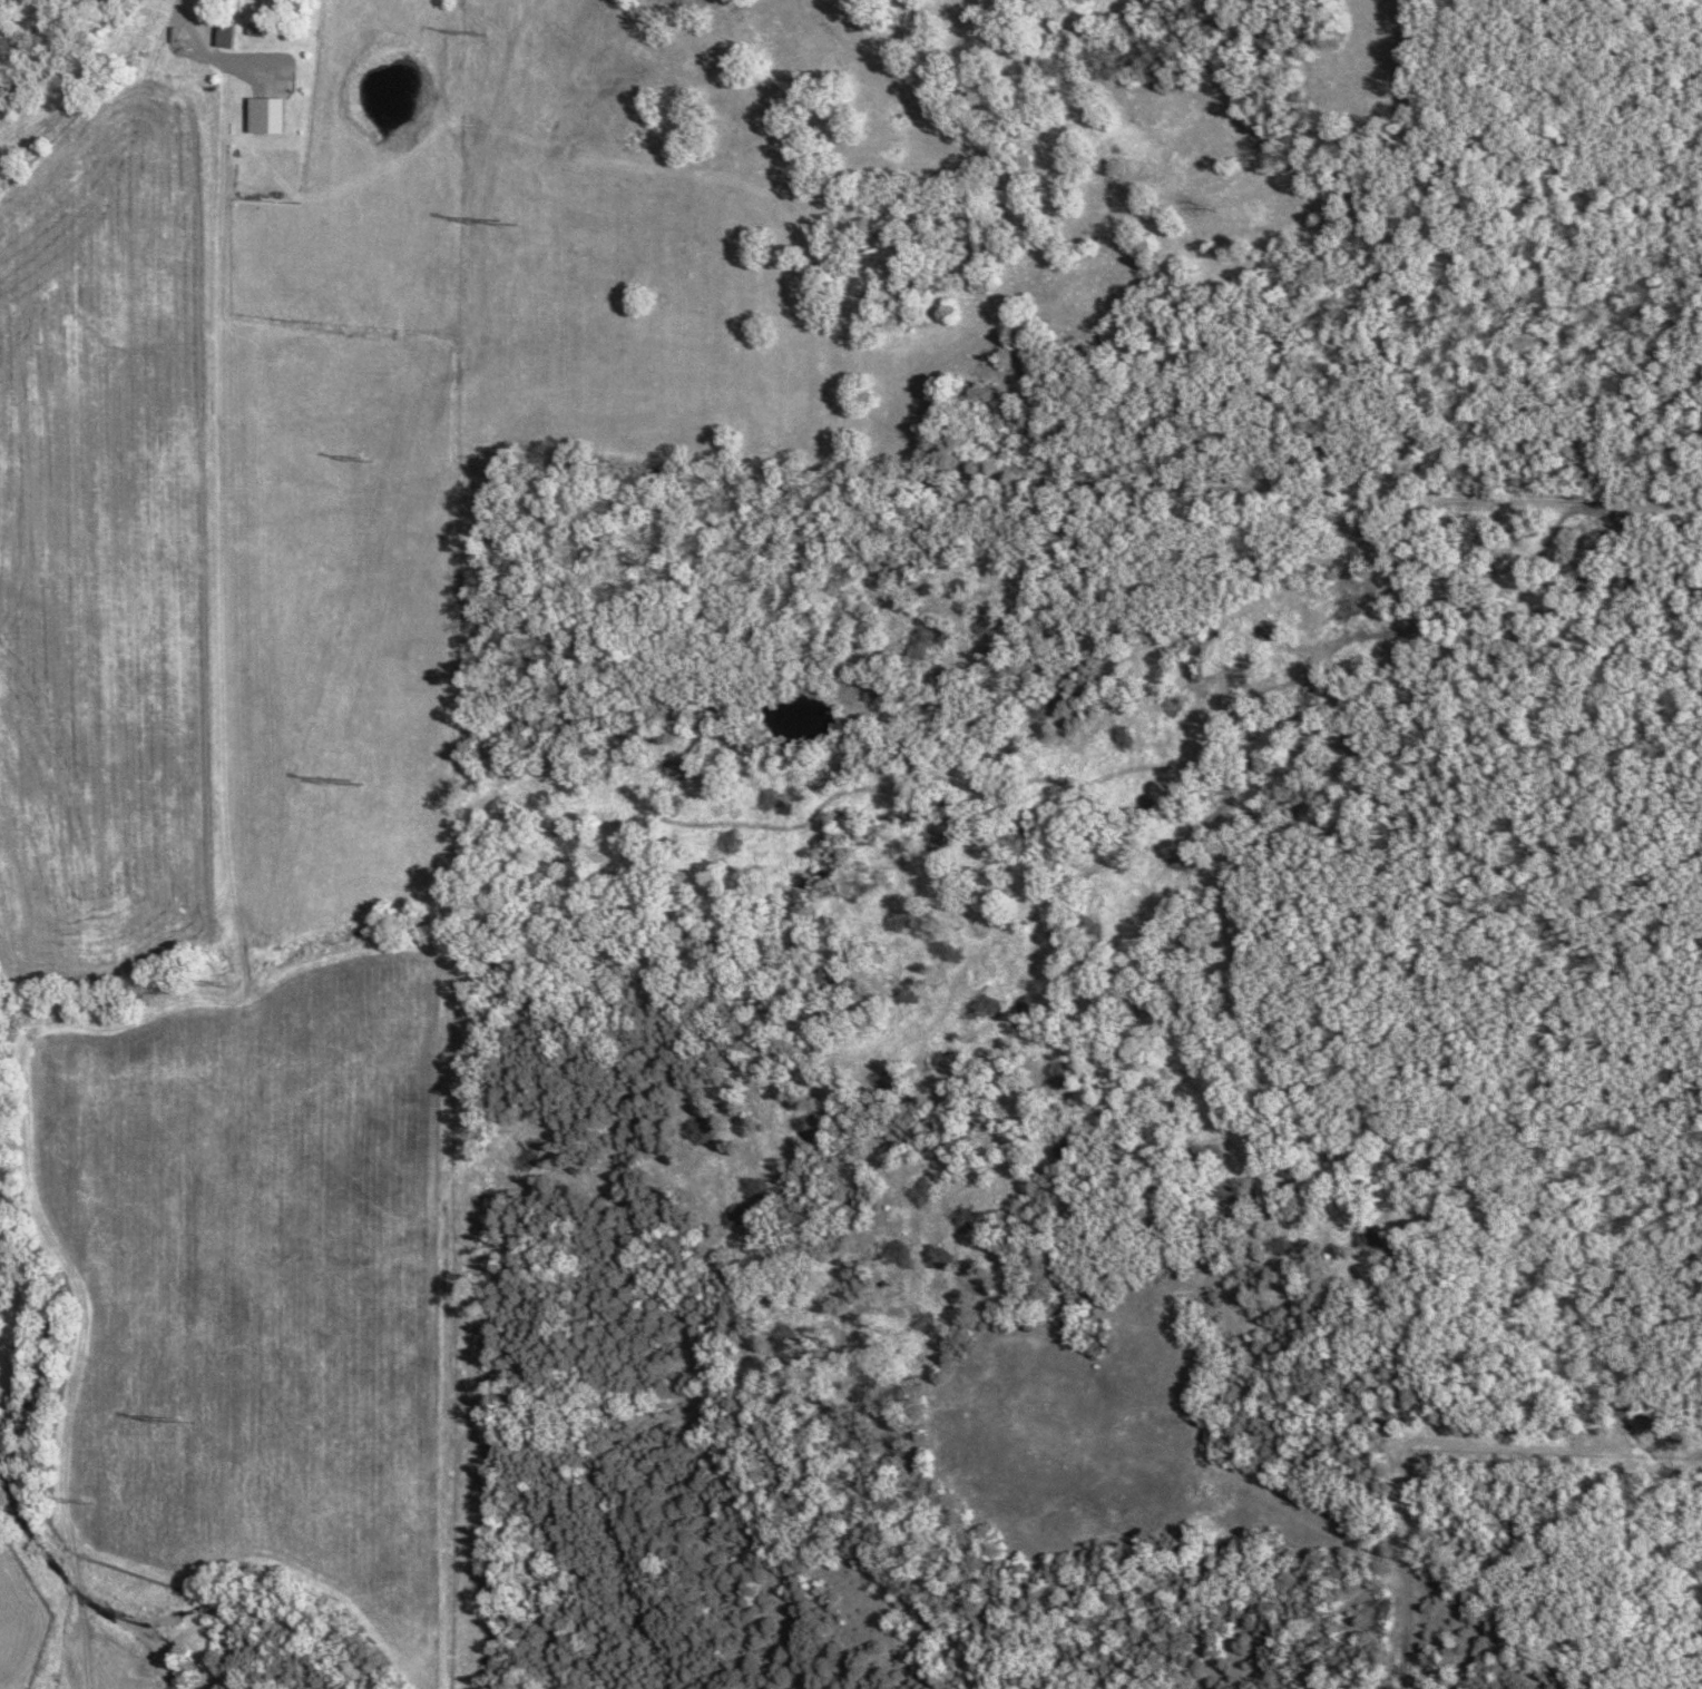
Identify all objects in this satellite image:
building: (222, 35)
road: (206, 50)
power tower: (501, 225)
power tower: (353, 786)
power tower: (180, 1407)

